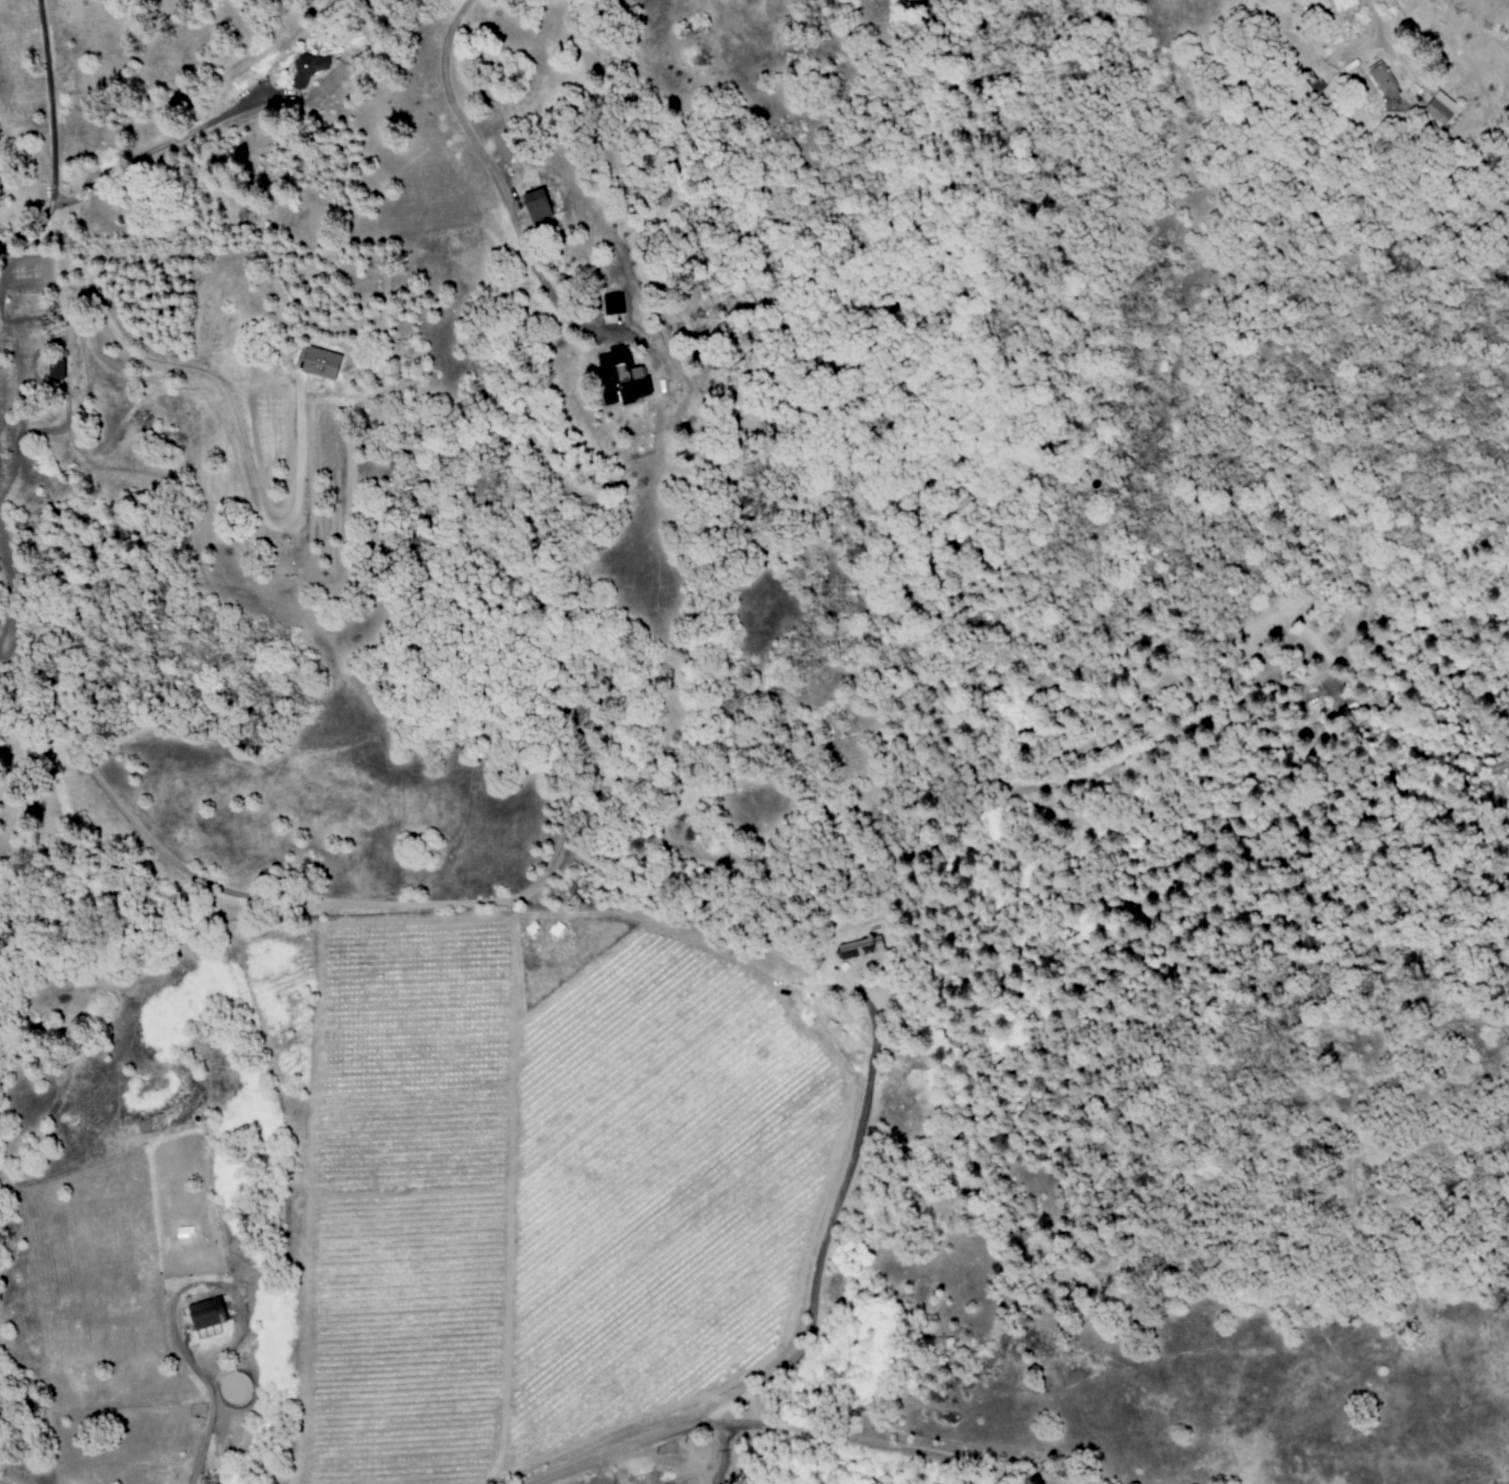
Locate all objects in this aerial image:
building: (307, 70)
building: (1384, 83)
building: (1442, 109)
road: (162, 142)
road: (52, 143)
building: (536, 206)
building: (613, 303)
building: (320, 361)
building: (54, 369)
building: (620, 377)
road: (703, 860)
building: (556, 929)
crop: (550, 1179)
road: (835, 1219)
building: (184, 1231)
building: (206, 1313)
road: (792, 1432)

